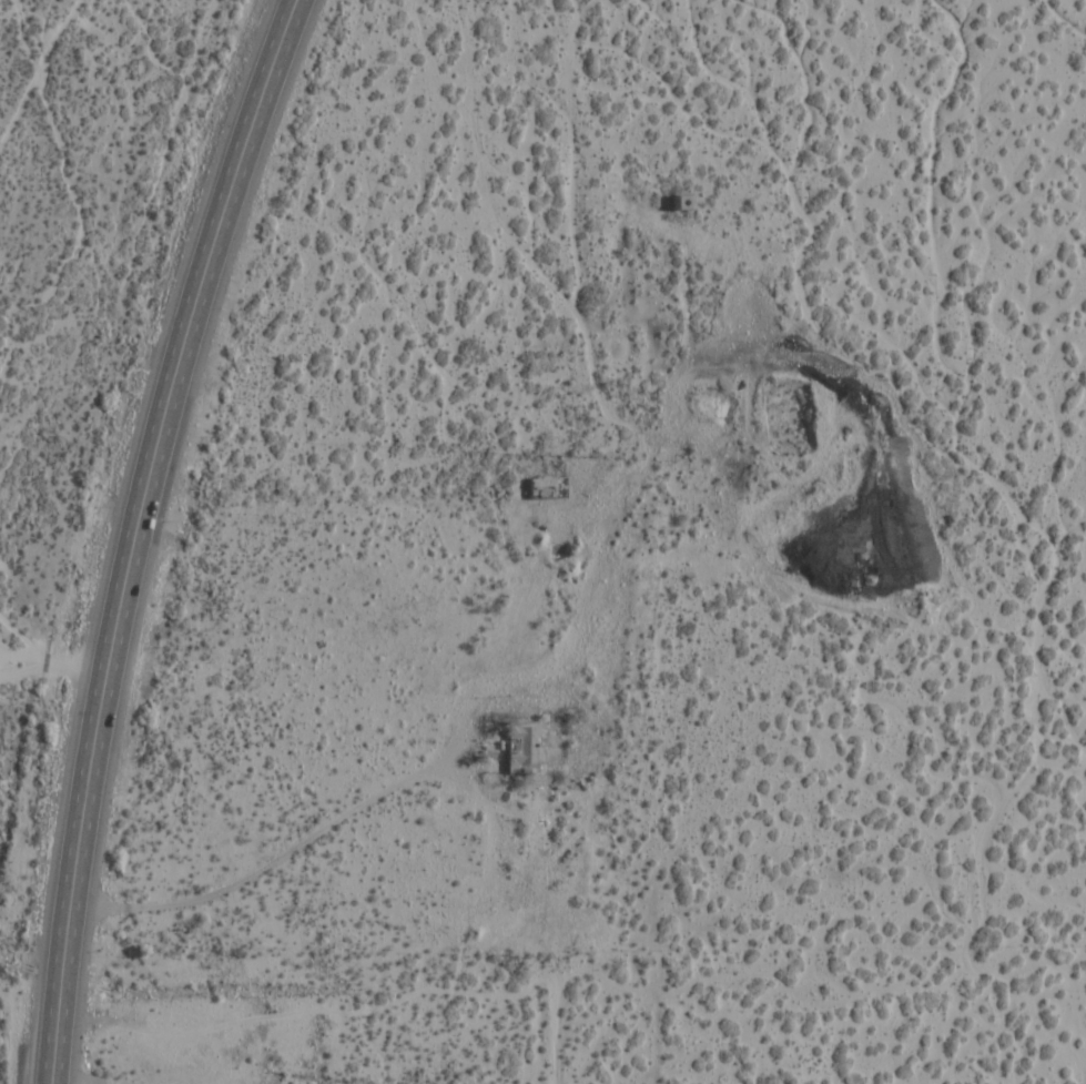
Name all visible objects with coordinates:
road: (43, 62)
building: (681, 204)
building: (546, 488)
road: (133, 533)
road: (50, 667)
road: (504, 695)
building: (522, 750)

